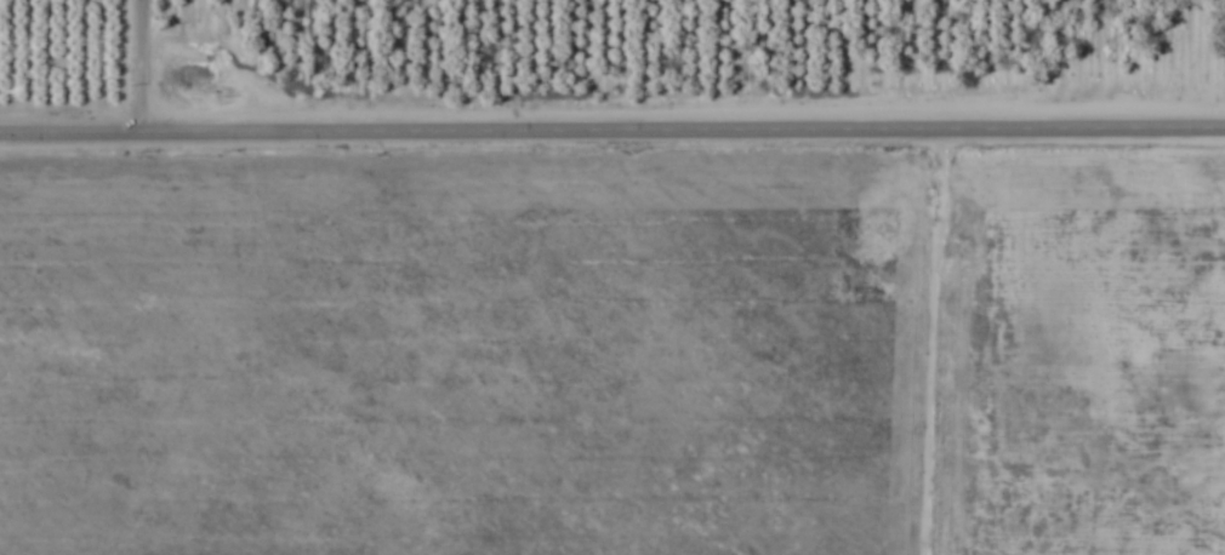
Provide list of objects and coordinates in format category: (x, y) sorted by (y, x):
road: (126, 59)
road: (611, 119)
crop: (612, 277)

